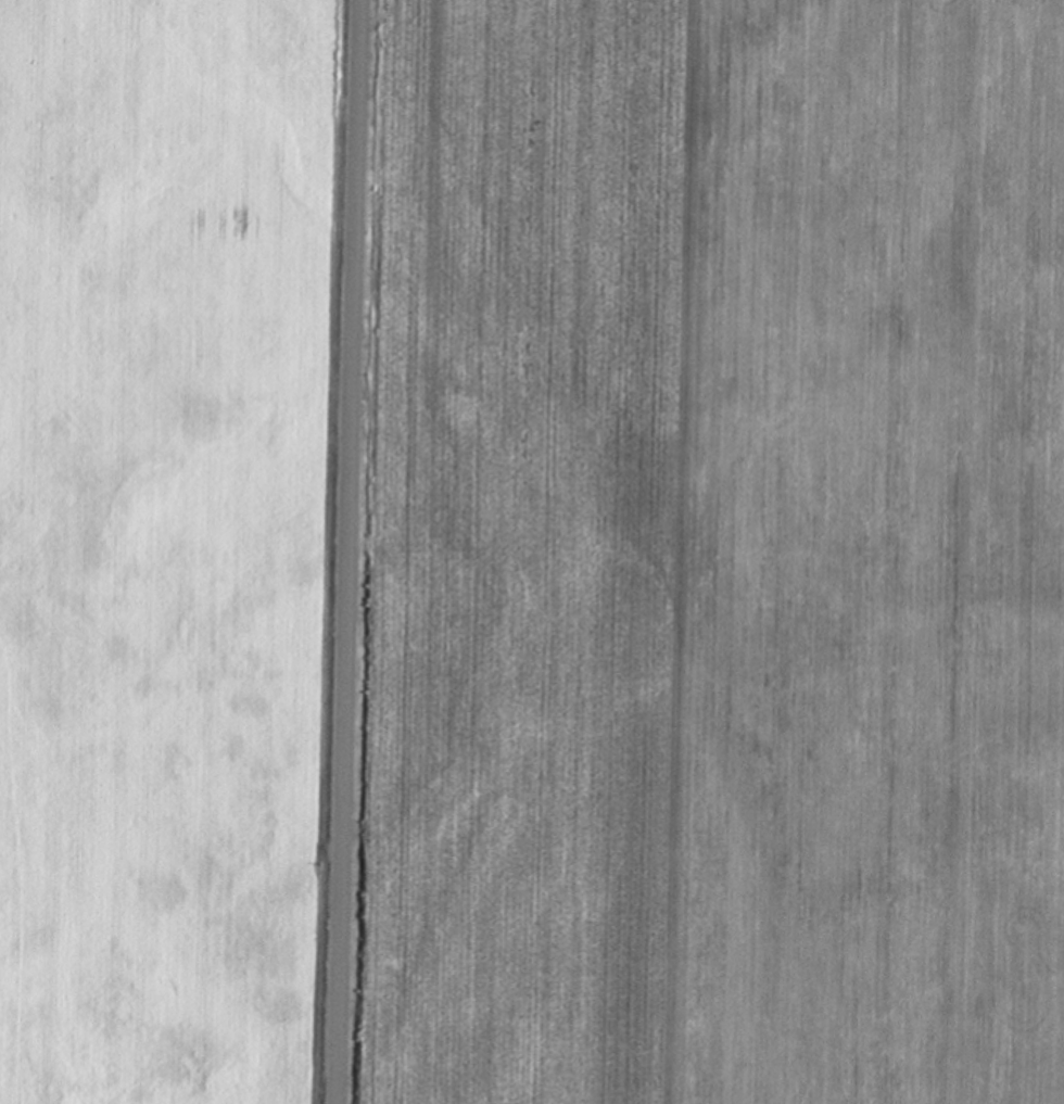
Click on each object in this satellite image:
road: (351, 551)

